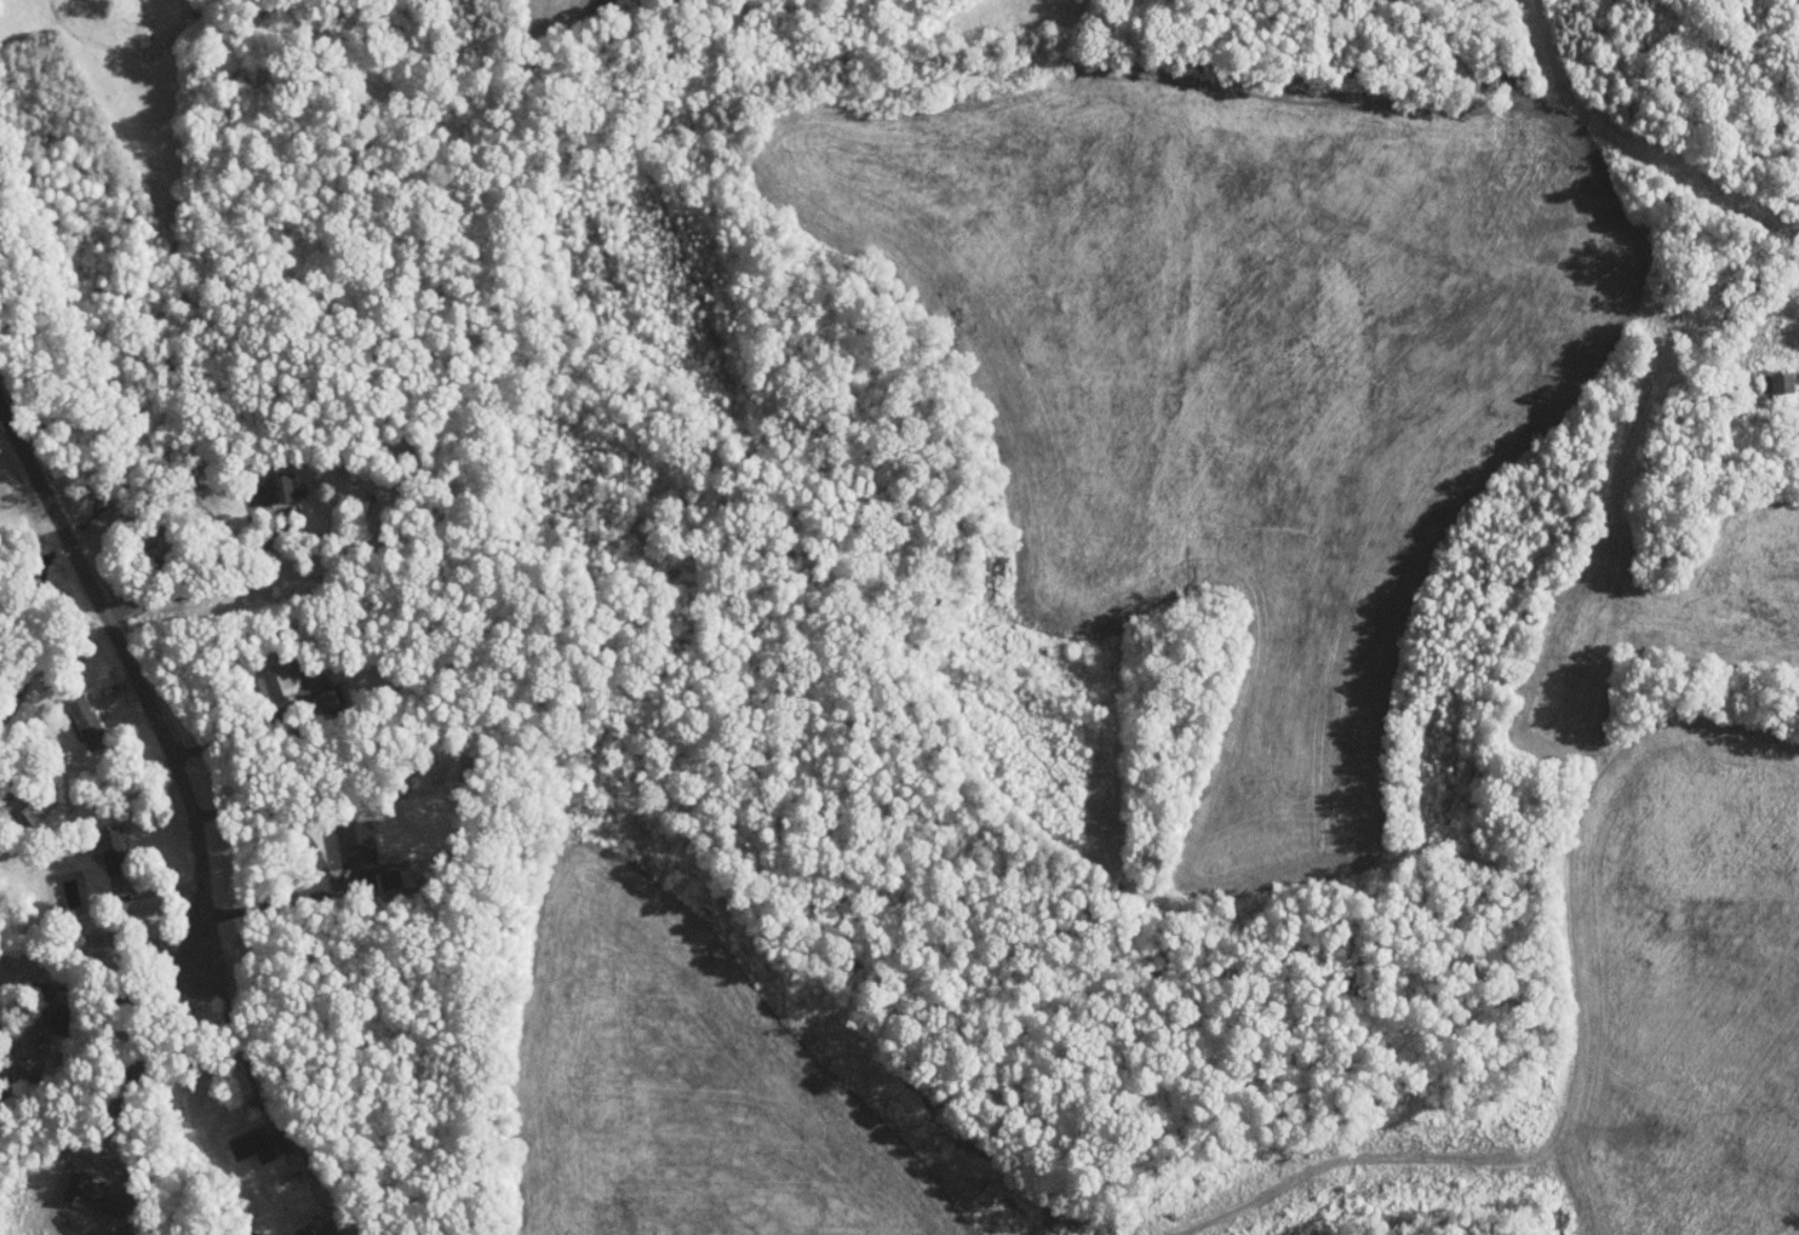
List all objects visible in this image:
road: (1781, 319)
building: (1772, 372)
road: (2, 416)
building: (269, 480)
road: (195, 562)
building: (262, 674)
road: (116, 688)
building: (75, 715)
road: (227, 724)
road: (170, 751)
road: (153, 827)
building: (343, 835)
building: (101, 841)
road: (305, 847)
building: (372, 873)
road: (137, 965)
building: (240, 1136)
building: (293, 1227)

